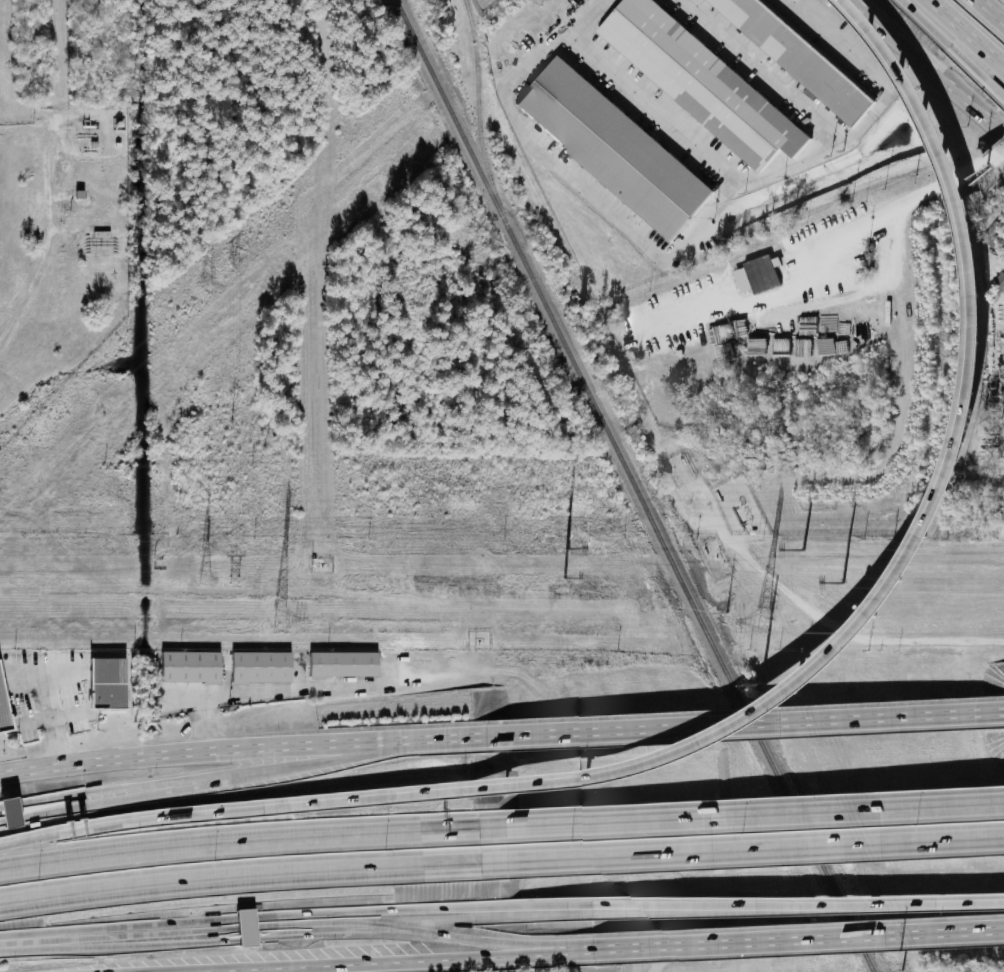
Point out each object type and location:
road: (990, 11)
road: (900, 31)
road: (965, 33)
road: (952, 50)
building: (794, 55)
road: (929, 66)
road: (765, 71)
building: (698, 81)
railway: (476, 104)
road: (655, 110)
building: (616, 146)
road: (952, 177)
road: (56, 236)
power plant: (165, 237)
road: (686, 246)
road: (841, 247)
power tower: (235, 262)
building: (759, 275)
power tower: (210, 289)
railway: (634, 486)
power tower: (204, 549)
power tower: (205, 577)
power tower: (235, 582)
road: (881, 597)
power tower: (280, 621)
power tower: (762, 623)
building: (347, 665)
building: (264, 667)
building: (194, 668)
building: (110, 684)
road: (269, 689)
building: (6, 704)
road: (49, 714)
road: (738, 723)
road: (235, 740)
road: (314, 759)
road: (107, 788)
road: (107, 800)
toll booth: (9, 804)
building: (16, 814)
road: (750, 815)
road: (141, 820)
road: (247, 843)
road: (752, 852)
road: (249, 877)
road: (790, 905)
road: (304, 911)
road: (236, 926)
building: (253, 929)
road: (17, 938)
road: (791, 939)
road: (264, 943)
toll booth: (249, 944)
road: (554, 950)
road: (365, 960)
road: (668, 966)
road: (299, 968)
road: (195, 971)

